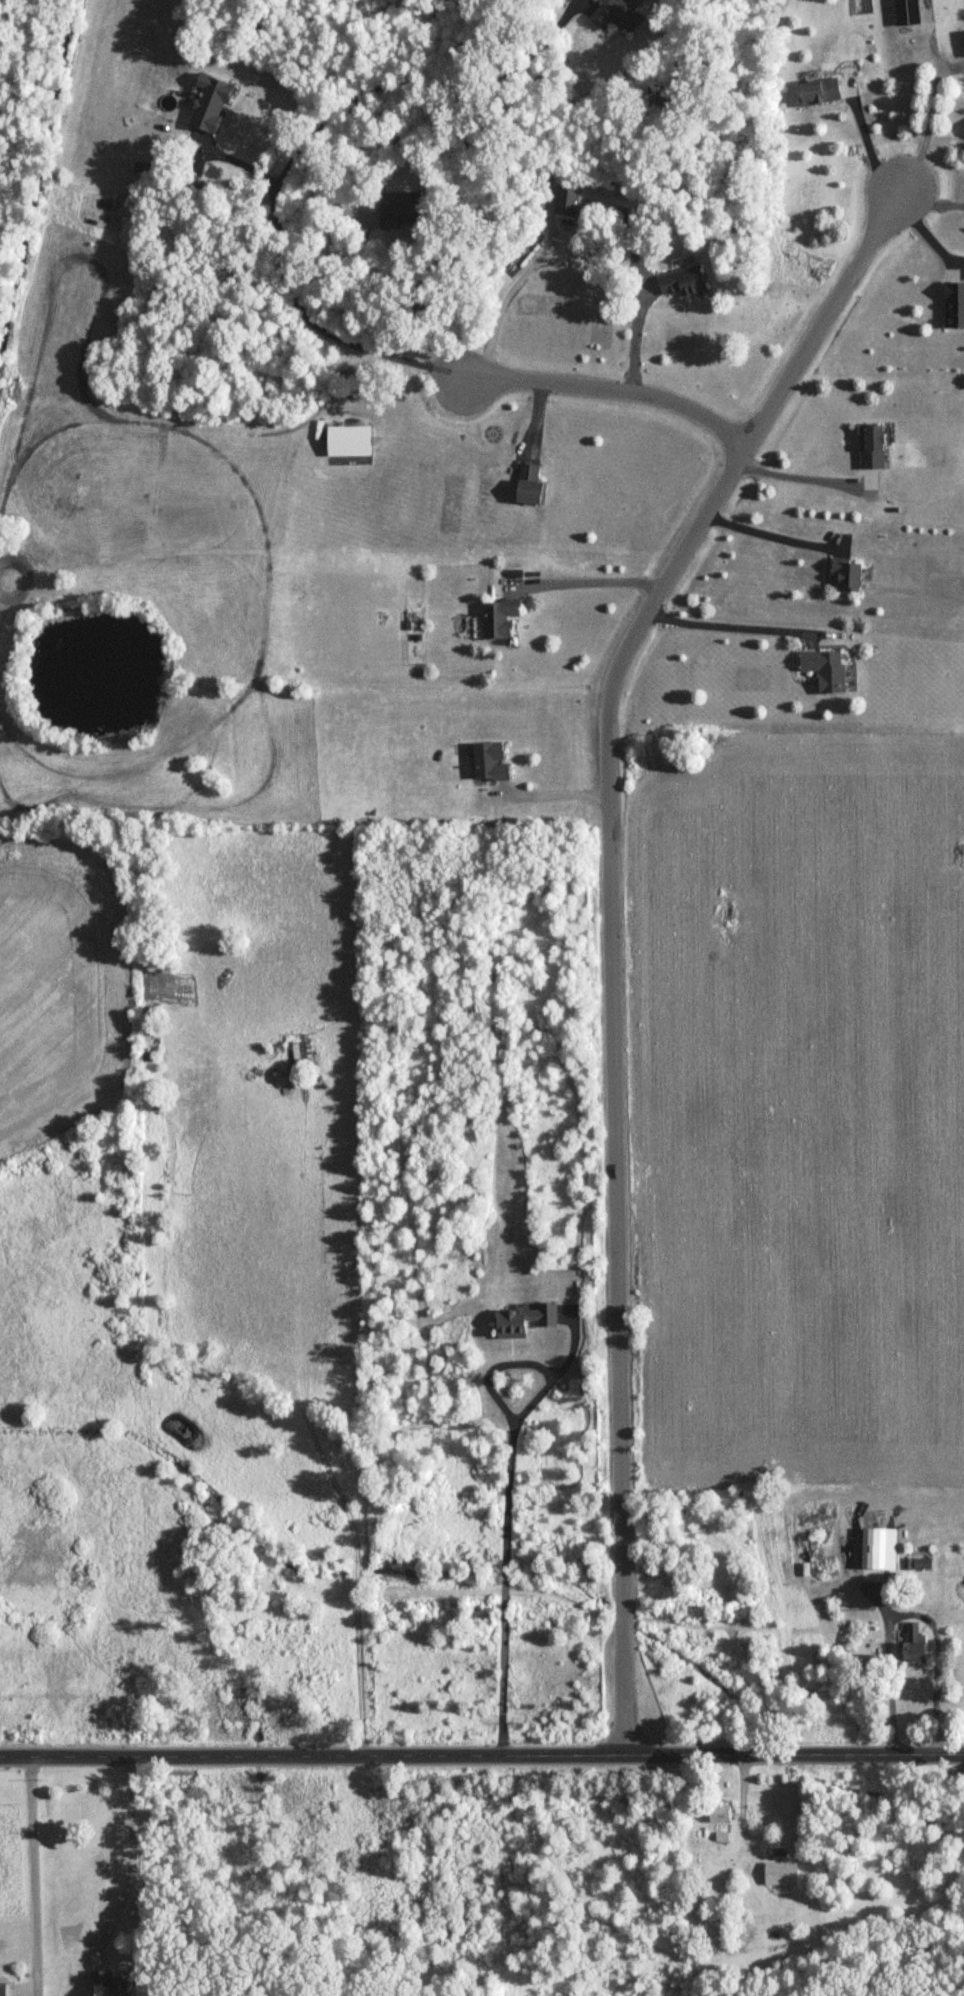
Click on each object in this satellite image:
building: (905, 13)
building: (615, 16)
building: (963, 36)
road: (415, 77)
building: (817, 93)
building: (207, 105)
road: (932, 117)
road: (870, 147)
building: (565, 202)
building: (392, 211)
building: (682, 285)
road: (509, 290)
road: (416, 295)
road: (291, 297)
building: (952, 306)
road: (636, 334)
road: (613, 391)
building: (869, 448)
road: (796, 479)
building: (526, 485)
road: (768, 536)
building: (844, 577)
road: (588, 578)
building: (498, 620)
road: (727, 621)
building: (823, 671)
building: (488, 765)
road: (555, 796)
road: (612, 934)
building: (301, 1050)
building: (522, 1321)
road: (508, 1497)
building: (824, 1552)
building: (920, 1564)
road: (907, 1613)
building: (911, 1645)
road: (482, 1756)
building: (716, 1815)
road: (131, 1853)
road: (36, 1867)
building: (778, 1875)
building: (102, 1983)
building: (1, 1988)

